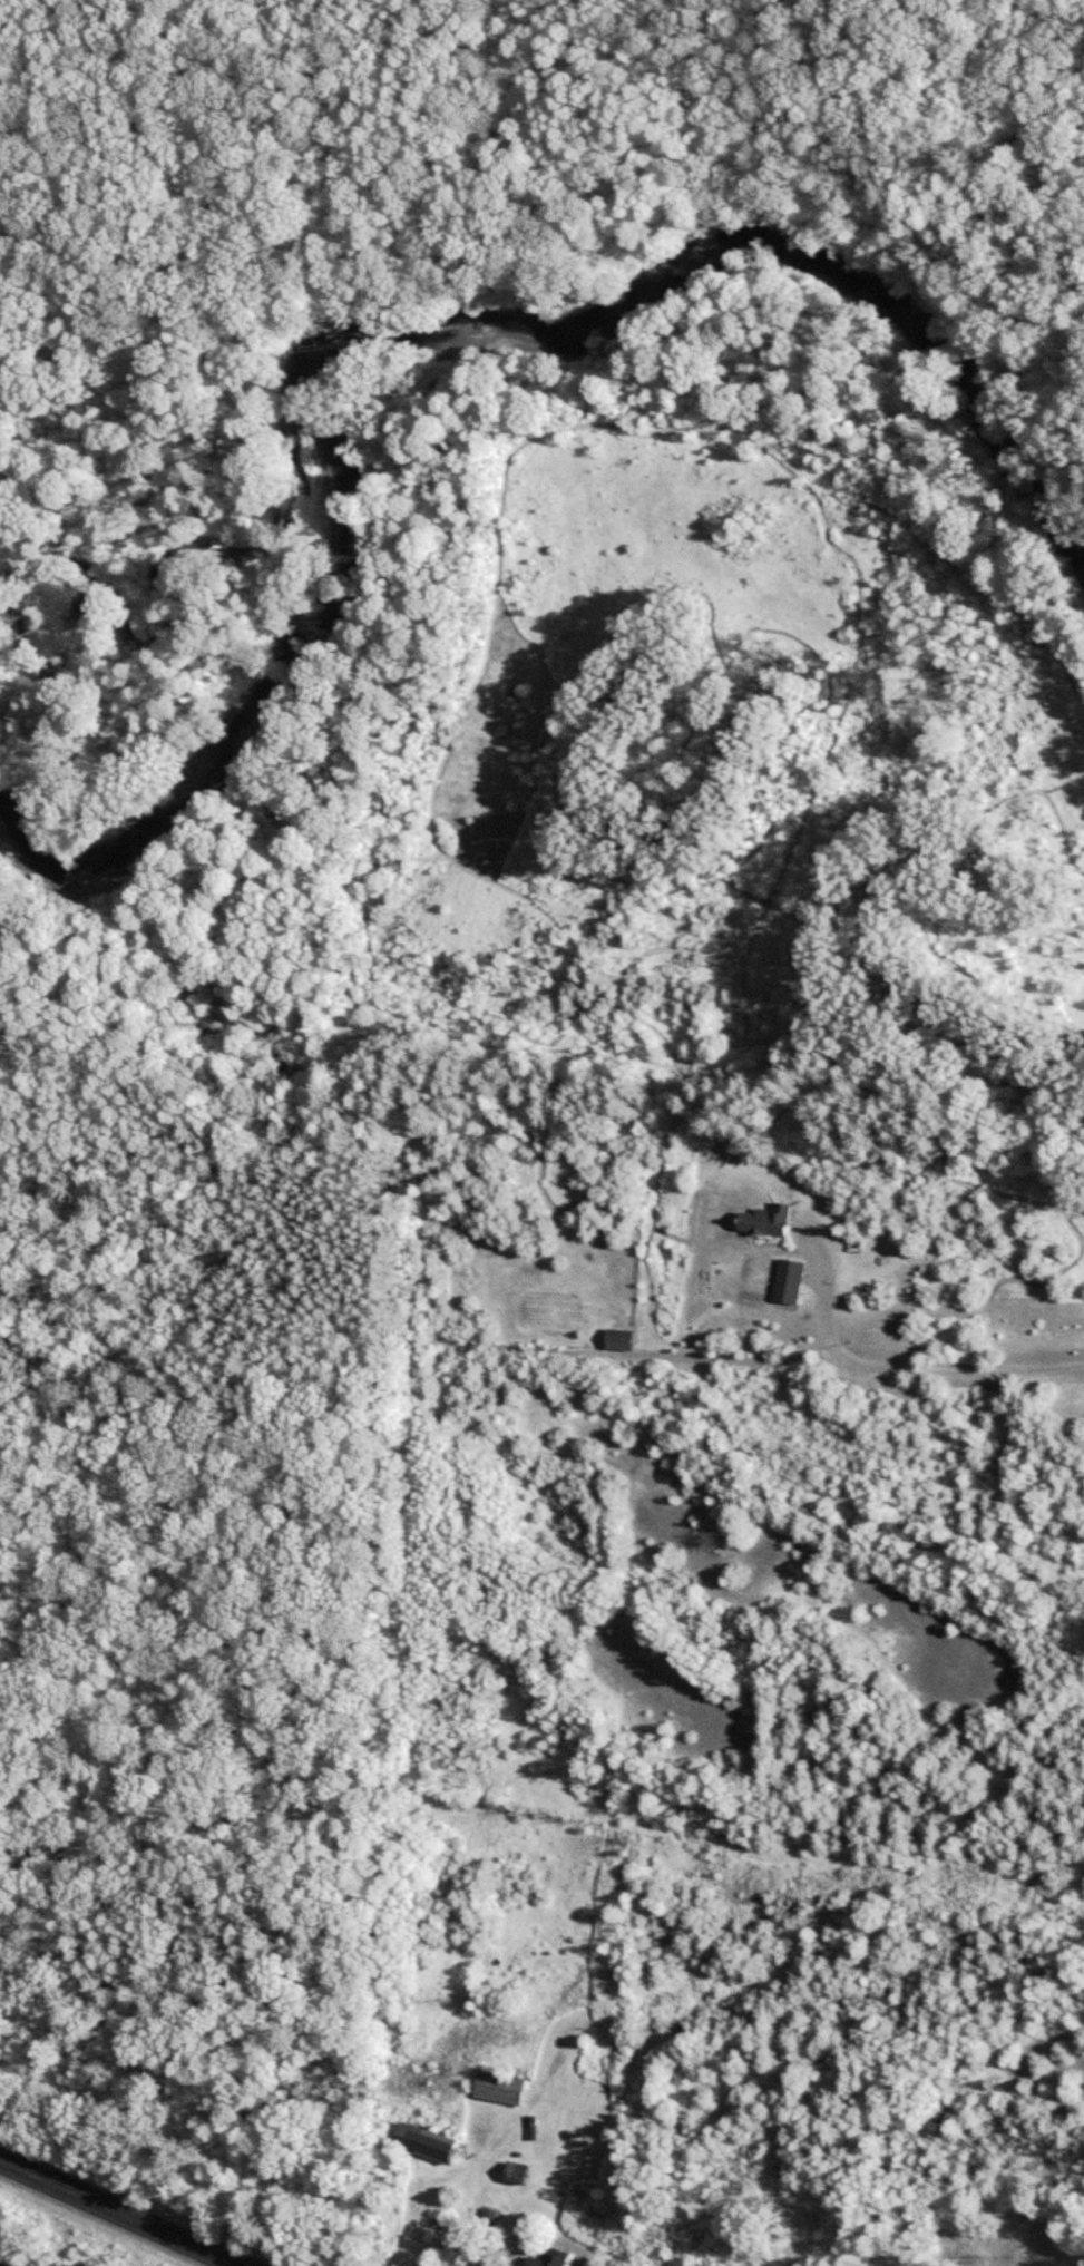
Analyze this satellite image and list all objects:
road: (485, 192)
road: (882, 192)
road: (555, 247)
river: (437, 333)
building: (768, 1220)
building: (790, 1281)
building: (621, 1339)
road: (893, 1367)
building: (501, 2088)
building: (427, 2142)
road: (120, 2213)
road: (418, 2226)
building: (550, 2258)

